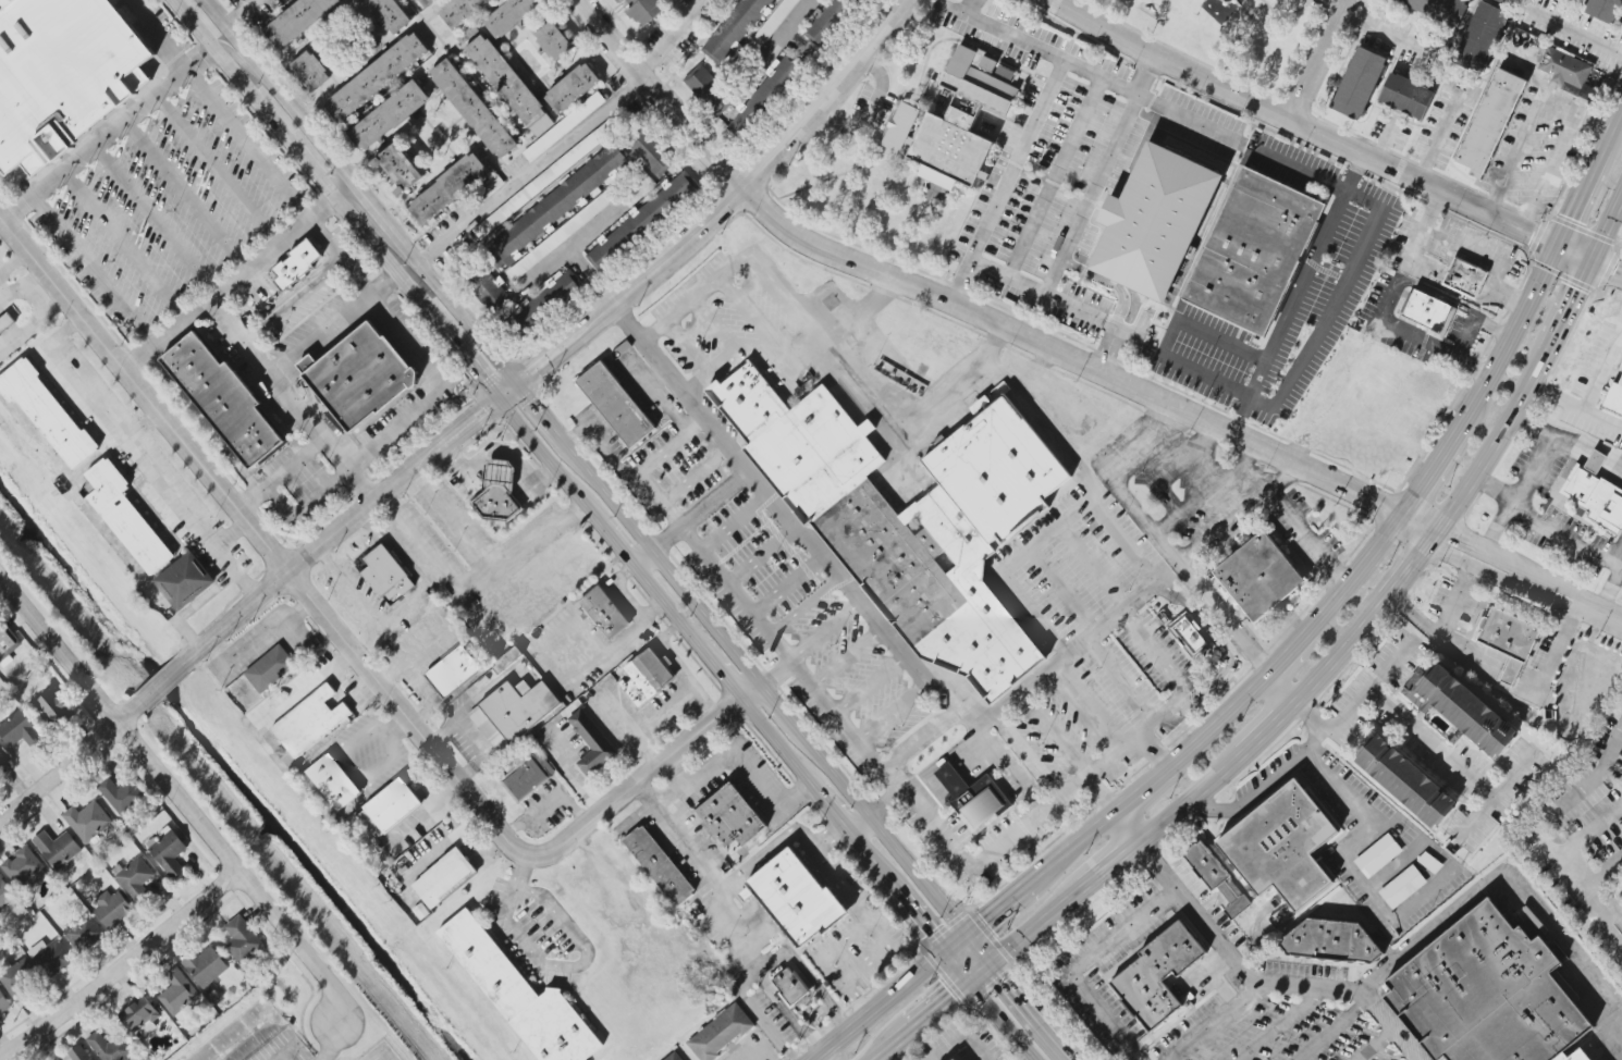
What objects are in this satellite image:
building: (620, 0)
building: (1578, 0)
parking lot: (236, 2)
building: (427, 2)
building: (1510, 2)
road: (974, 5)
building: (1438, 9)
building: (646, 10)
building: (1605, 10)
building: (460, 11)
road: (242, 12)
building: (390, 14)
road: (969, 14)
building: (511, 16)
building: (298, 20)
building: (772, 25)
road: (785, 25)
building: (738, 30)
park: (1233, 30)
road: (667, 35)
road: (1388, 35)
road: (1572, 35)
building: (1482, 37)
building: (554, 41)
road: (208, 54)
road: (813, 57)
road: (242, 59)
road: (1319, 61)
road: (1150, 67)
building: (311, 71)
building: (1568, 72)
road: (1085, 74)
building: (61, 75)
building: (377, 77)
building: (506, 81)
building: (1359, 83)
building: (573, 88)
building: (706, 88)
building: (762, 96)
building: (1406, 96)
building: (474, 109)
road: (219, 111)
road: (872, 113)
road: (1576, 114)
building: (389, 116)
building: (963, 120)
building: (1490, 123)
building: (564, 127)
building: (900, 127)
road: (1612, 127)
road: (115, 128)
road: (1437, 134)
road: (1525, 134)
road: (1384, 140)
road: (1330, 141)
building: (651, 153)
road: (1558, 156)
road: (1015, 164)
parking lot: (1064, 167)
building: (400, 168)
road: (219, 169)
road: (309, 169)
road: (530, 170)
road: (1054, 178)
road: (1094, 185)
building: (448, 189)
road: (361, 192)
parking lot: (160, 193)
road: (184, 197)
road: (1582, 198)
road: (329, 206)
building: (554, 207)
road: (16, 209)
road: (721, 215)
road: (158, 219)
building: (642, 221)
road: (378, 226)
building: (1157, 229)
road: (1607, 229)
building: (560, 236)
road: (325, 241)
road: (124, 246)
traffic signals: (1560, 247)
road: (568, 248)
building: (1251, 250)
road: (1472, 251)
traffic signals: (1592, 261)
road: (14, 263)
road: (739, 263)
building: (296, 266)
road: (93, 272)
road: (358, 275)
road: (237, 278)
building: (1464, 278)
road: (959, 284)
building: (489, 291)
road: (1037, 292)
road: (1439, 294)
road: (1294, 295)
building: (545, 300)
road: (293, 301)
road: (973, 312)
building: (1429, 313)
road: (1565, 313)
road: (1474, 321)
building: (7, 324)
road: (332, 324)
road: (1514, 337)
road: (1414, 340)
road: (1109, 346)
building: (625, 347)
road: (139, 357)
road: (1303, 358)
road: (474, 368)
road: (266, 370)
road: (1602, 371)
building: (359, 377)
traffic signals: (520, 381)
road: (434, 389)
road: (872, 390)
parking lot: (1595, 391)
building: (1613, 395)
building: (224, 400)
building: (615, 404)
road: (1575, 409)
building: (47, 412)
road: (544, 414)
road: (144, 426)
road: (674, 446)
road: (312, 448)
road: (1494, 453)
road: (142, 456)
road: (552, 466)
road: (1434, 471)
road: (696, 474)
road: (1213, 479)
building: (497, 492)
building: (1595, 493)
road: (772, 496)
road: (1517, 497)
road: (702, 510)
road: (1509, 511)
parking lot: (1556, 513)
road: (1077, 515)
building: (126, 517)
building: (911, 517)
road: (452, 521)
road: (737, 523)
road: (1298, 526)
road: (342, 529)
road: (232, 532)
road: (1121, 538)
road: (1045, 539)
road: (1157, 539)
road: (529, 541)
road: (420, 547)
road: (619, 549)
road: (758, 549)
road: (642, 556)
road: (1512, 565)
road: (666, 566)
road: (1413, 567)
road: (1361, 570)
road: (1465, 572)
building: (386, 575)
building: (1256, 576)
road: (781, 577)
road: (1476, 578)
road: (1504, 579)
building: (185, 581)
road: (1608, 590)
road: (620, 591)
road: (1023, 601)
road: (802, 604)
road: (666, 606)
road: (404, 609)
building: (605, 613)
road: (1600, 615)
road: (763, 627)
road: (826, 632)
building: (1504, 632)
road: (630, 633)
road: (268, 634)
building: (1190, 636)
road: (1435, 637)
road: (369, 639)
road: (308, 642)
building: (7, 645)
road: (1558, 645)
road: (354, 649)
road: (1291, 649)
road: (414, 653)
road: (1226, 653)
road: (1339, 653)
road: (848, 658)
road: (1487, 663)
road: (407, 666)
road: (1054, 668)
building: (270, 669)
building: (453, 671)
road: (325, 673)
road: (776, 674)
road: (722, 675)
building: (646, 676)
road: (420, 683)
road: (161, 686)
road: (871, 686)
road: (1278, 691)
road: (1371, 692)
road: (1090, 704)
building: (56, 708)
road: (781, 710)
road: (427, 711)
building: (1462, 711)
building: (514, 712)
road: (892, 712)
road: (1217, 718)
road: (1305, 718)
building: (314, 719)
road: (1267, 729)
building: (20, 730)
road: (925, 732)
road: (1054, 736)
road: (1313, 741)
building: (592, 743)
road: (779, 745)
road: (1431, 745)
road: (1111, 754)
road: (946, 757)
building: (3, 762)
road: (67, 765)
road: (736, 765)
road: (1016, 767)
road: (677, 772)
building: (528, 777)
road: (899, 779)
building: (951, 780)
building: (1401, 780)
building: (334, 782)
road: (1142, 786)
building: (121, 794)
road: (850, 794)
road: (1252, 794)
road: (1494, 796)
road: (171, 799)
road: (1191, 800)
building: (982, 801)
road: (887, 802)
building: (390, 809)
road: (832, 811)
building: (730, 818)
building: (88, 821)
road: (1543, 822)
road: (859, 824)
road: (1126, 827)
road: (683, 838)
road: (1078, 839)
road: (807, 842)
building: (1278, 843)
building: (58, 849)
building: (169, 853)
road: (987, 853)
road: (867, 854)
building: (1376, 855)
road: (761, 861)
road: (1347, 863)
building: (22, 865)
road: (1397, 865)
building: (660, 866)
building: (1202, 866)
road: (1113, 867)
road: (1501, 877)
building: (136, 878)
building: (444, 878)
road: (1588, 883)
road: (513, 884)
building: (1400, 886)
building: (5, 893)
road: (934, 895)
building: (797, 899)
road: (1005, 900)
building: (113, 909)
building: (421, 911)
road: (914, 913)
road: (1599, 914)
road: (1199, 915)
road: (870, 922)
road: (729, 927)
road: (1041, 929)
traffic signals: (967, 933)
building: (85, 934)
building: (243, 940)
building: (1328, 940)
traffic signals: (945, 950)
road: (980, 951)
road: (287, 957)
building: (51, 958)
road: (771, 959)
road: (586, 960)
road: (1078, 965)
building: (207, 966)
road: (958, 969)
road: (120, 971)
traffic signals: (994, 971)
building: (1153, 974)
building: (20, 978)
building: (790, 986)
traffic signals: (972, 987)
building: (177, 993)
road: (1013, 993)
road: (1351, 993)
building: (1487, 995)
building: (520, 996)
road: (887, 996)
road: (951, 1000)
building: (3, 1003)
building: (139, 1014)
road: (762, 1016)
road: (1006, 1023)
road: (1216, 1023)
road: (1276, 1026)
road: (1331, 1032)
building: (721, 1033)
road: (958, 1035)
road: (329, 1037)
road: (1055, 1037)
road: (889, 1045)
building: (110, 1047)
road: (1374, 1047)
parking lot: (284, 1049)
road: (380, 1050)
road: (317, 1052)
parking lot: (381, 1052)
building: (78, 1053)
road: (760, 1053)
road: (890, 1053)
building: (674, 1057)
road: (283, 1058)

